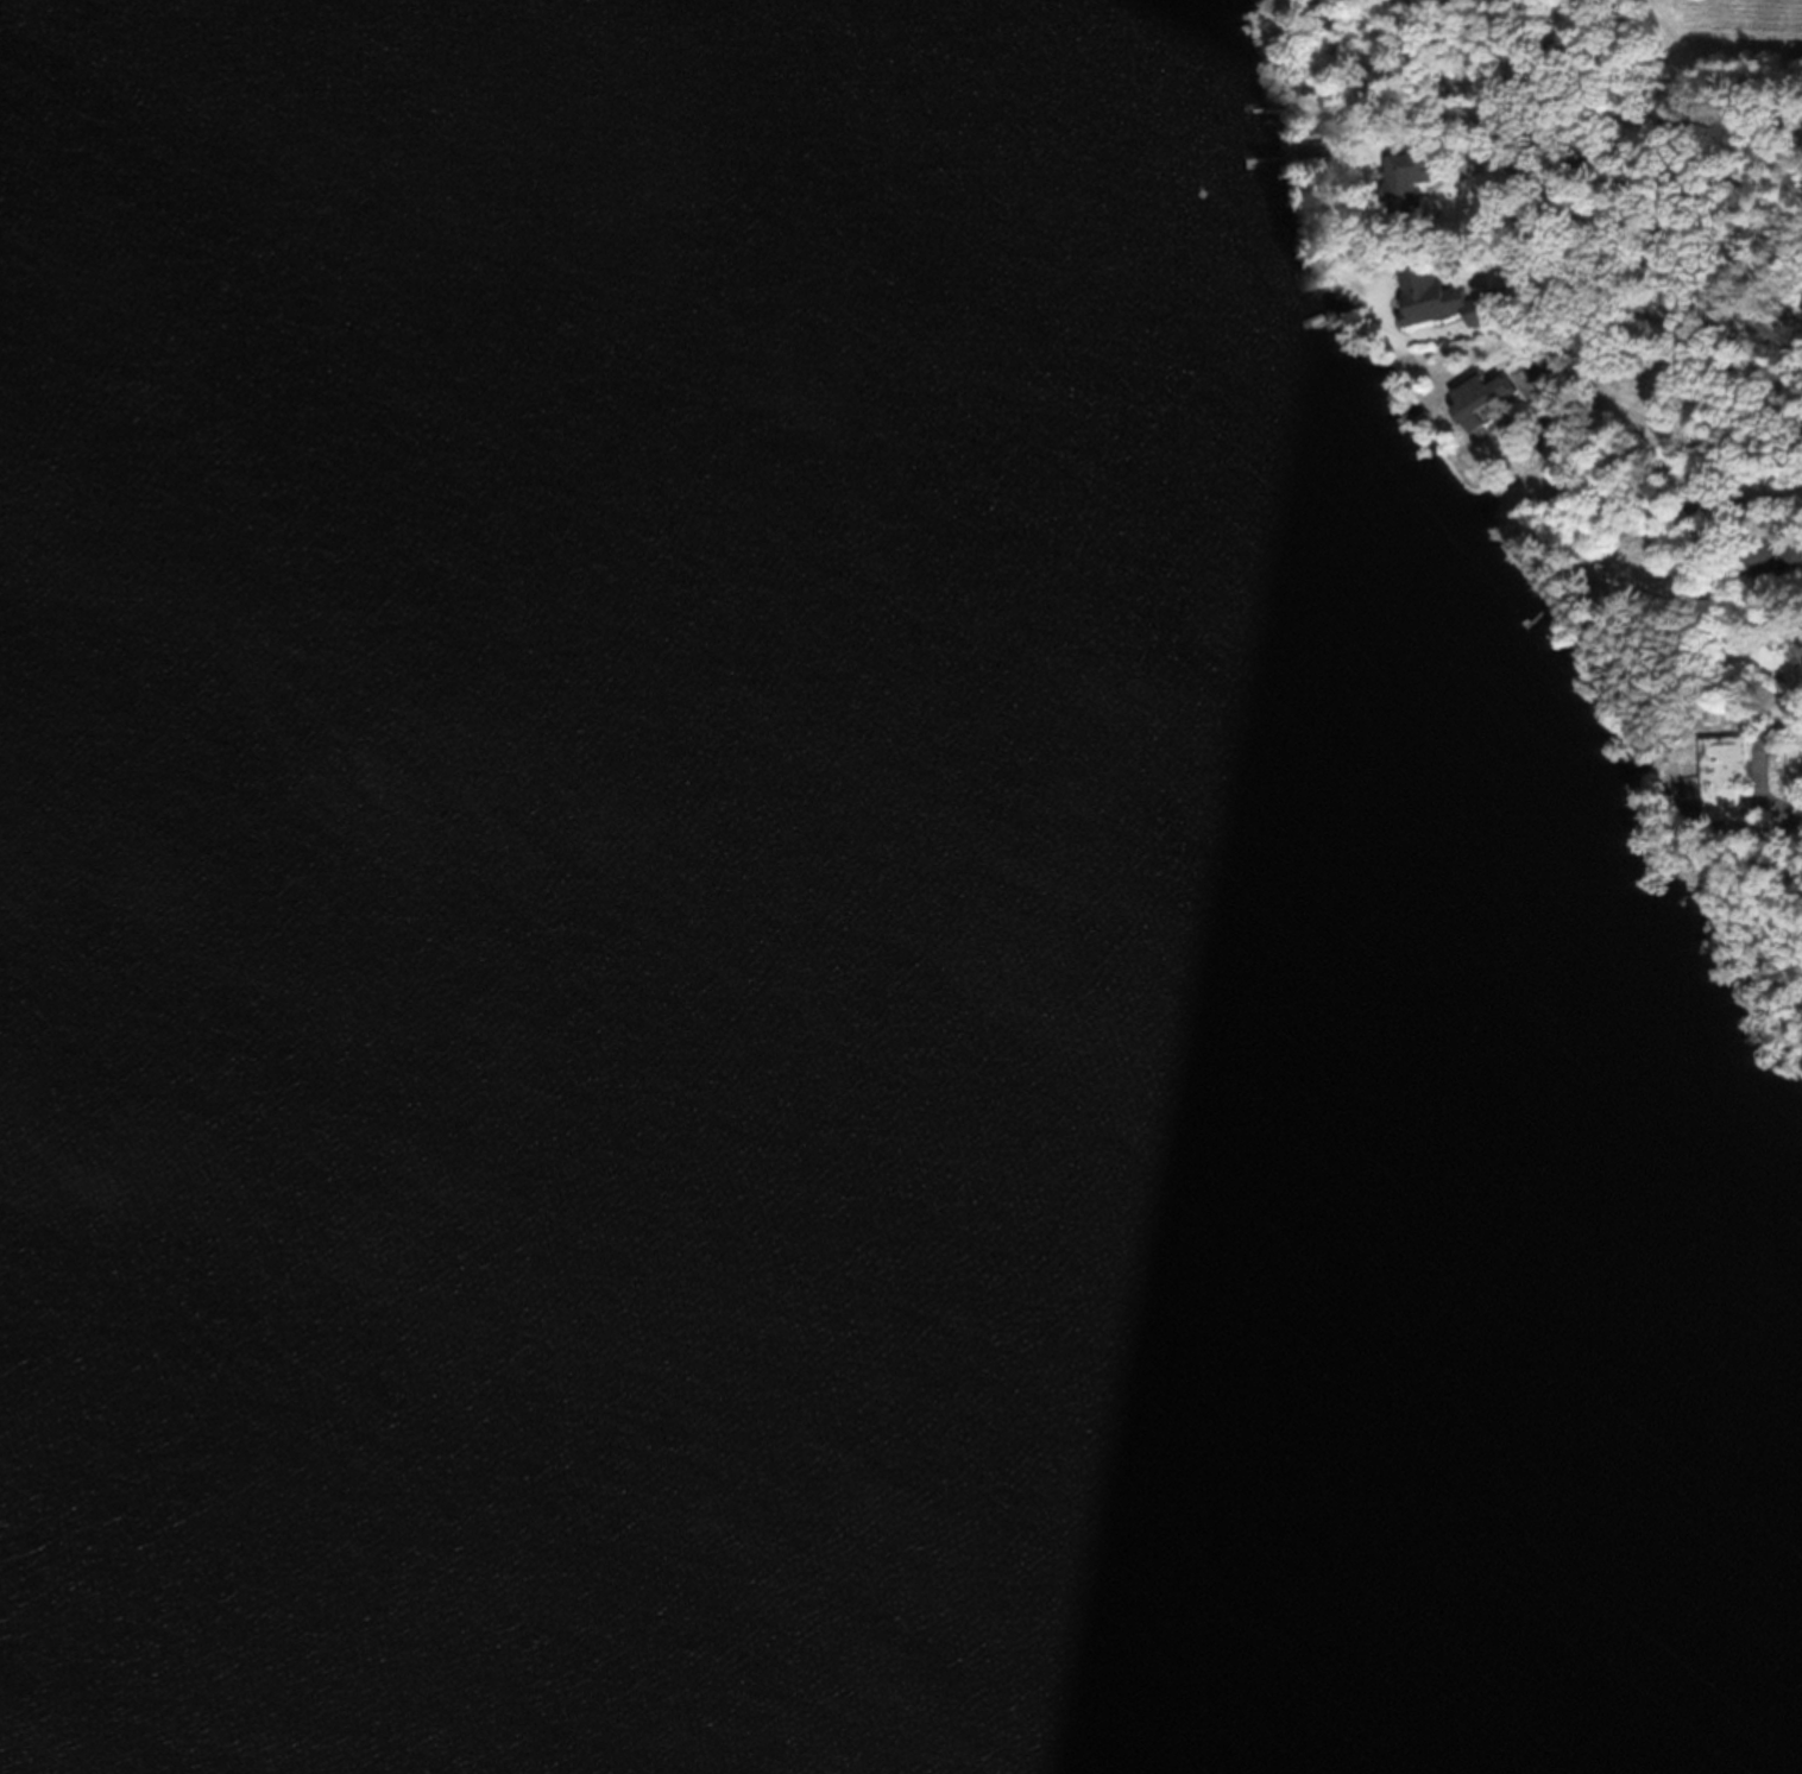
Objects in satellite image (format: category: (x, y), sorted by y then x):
building: (1409, 173)
building: (1429, 290)
building: (1479, 392)
building: (1768, 568)
building: (1800, 643)
building: (1724, 770)

